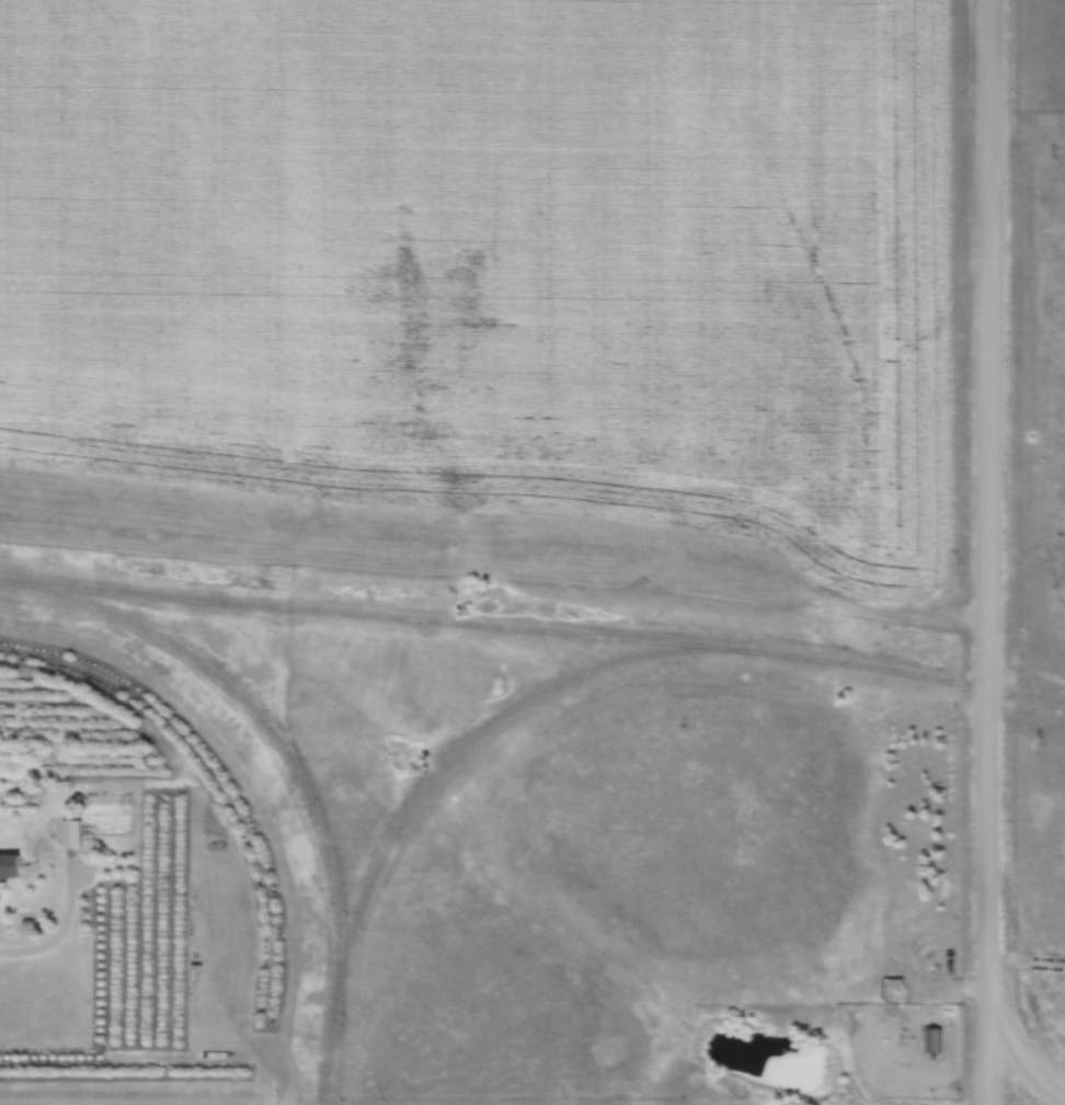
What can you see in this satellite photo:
road: (986, 552)
railway: (534, 630)
railway: (264, 730)
railway: (410, 805)
building: (69, 833)
building: (9, 865)
building: (932, 1041)
road: (1011, 1057)

